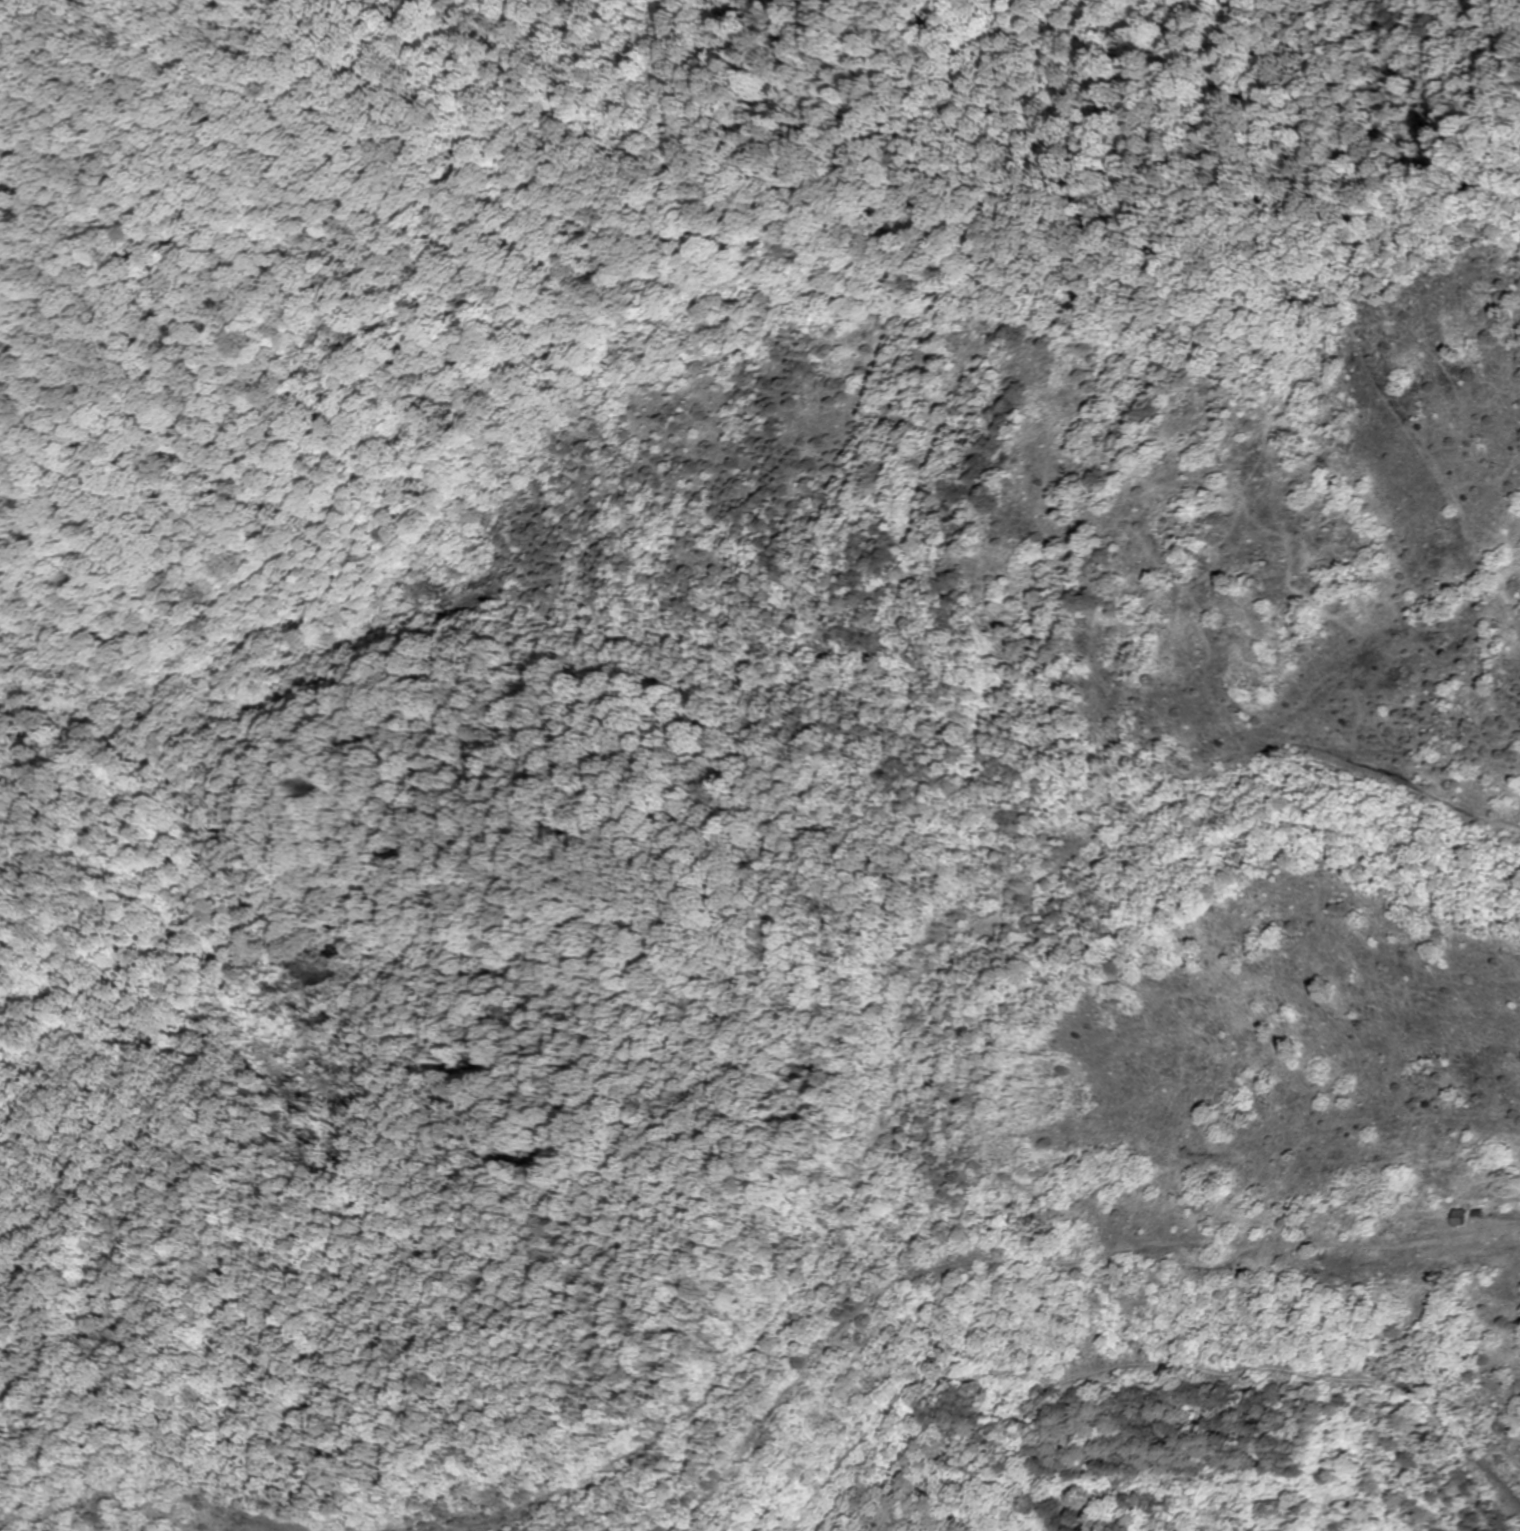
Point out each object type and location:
building: (1447, 1218)

